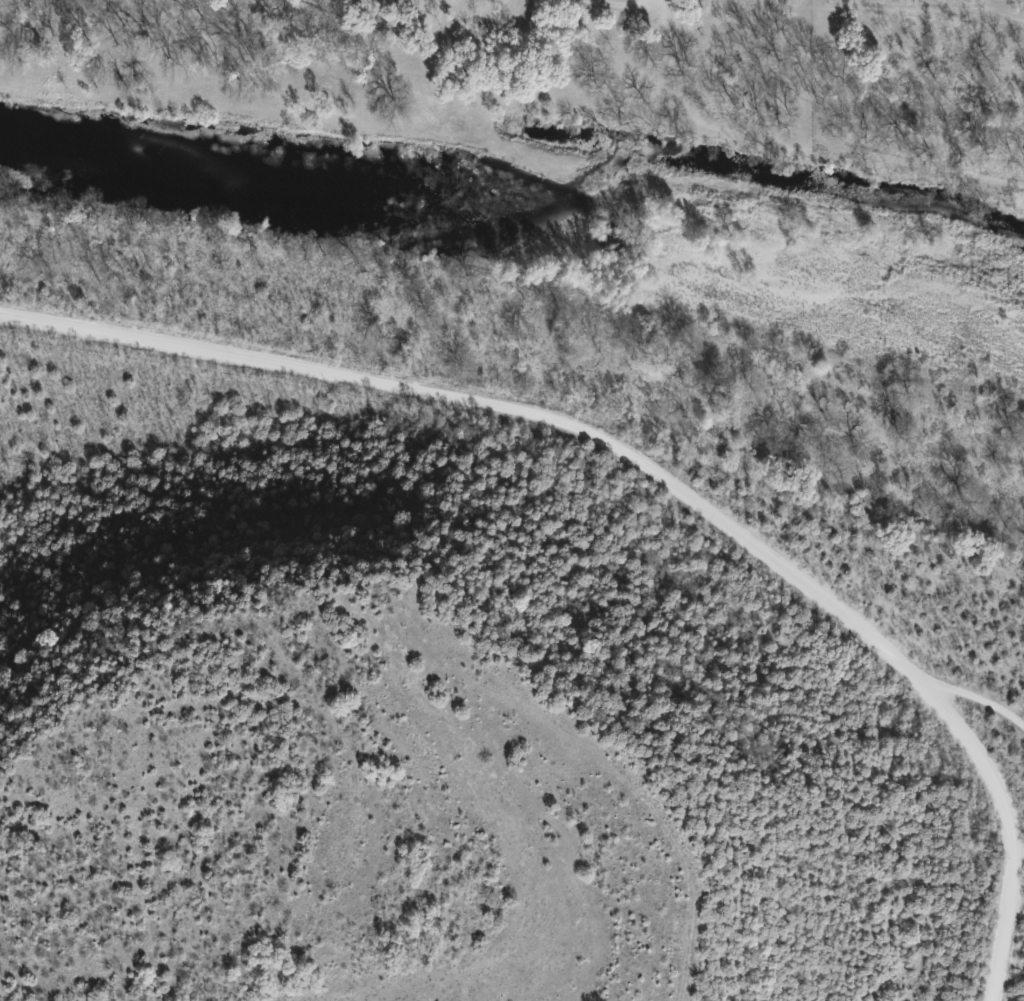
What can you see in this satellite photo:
road: (663, 9)
river: (514, 178)
road: (650, 475)
road: (988, 772)

